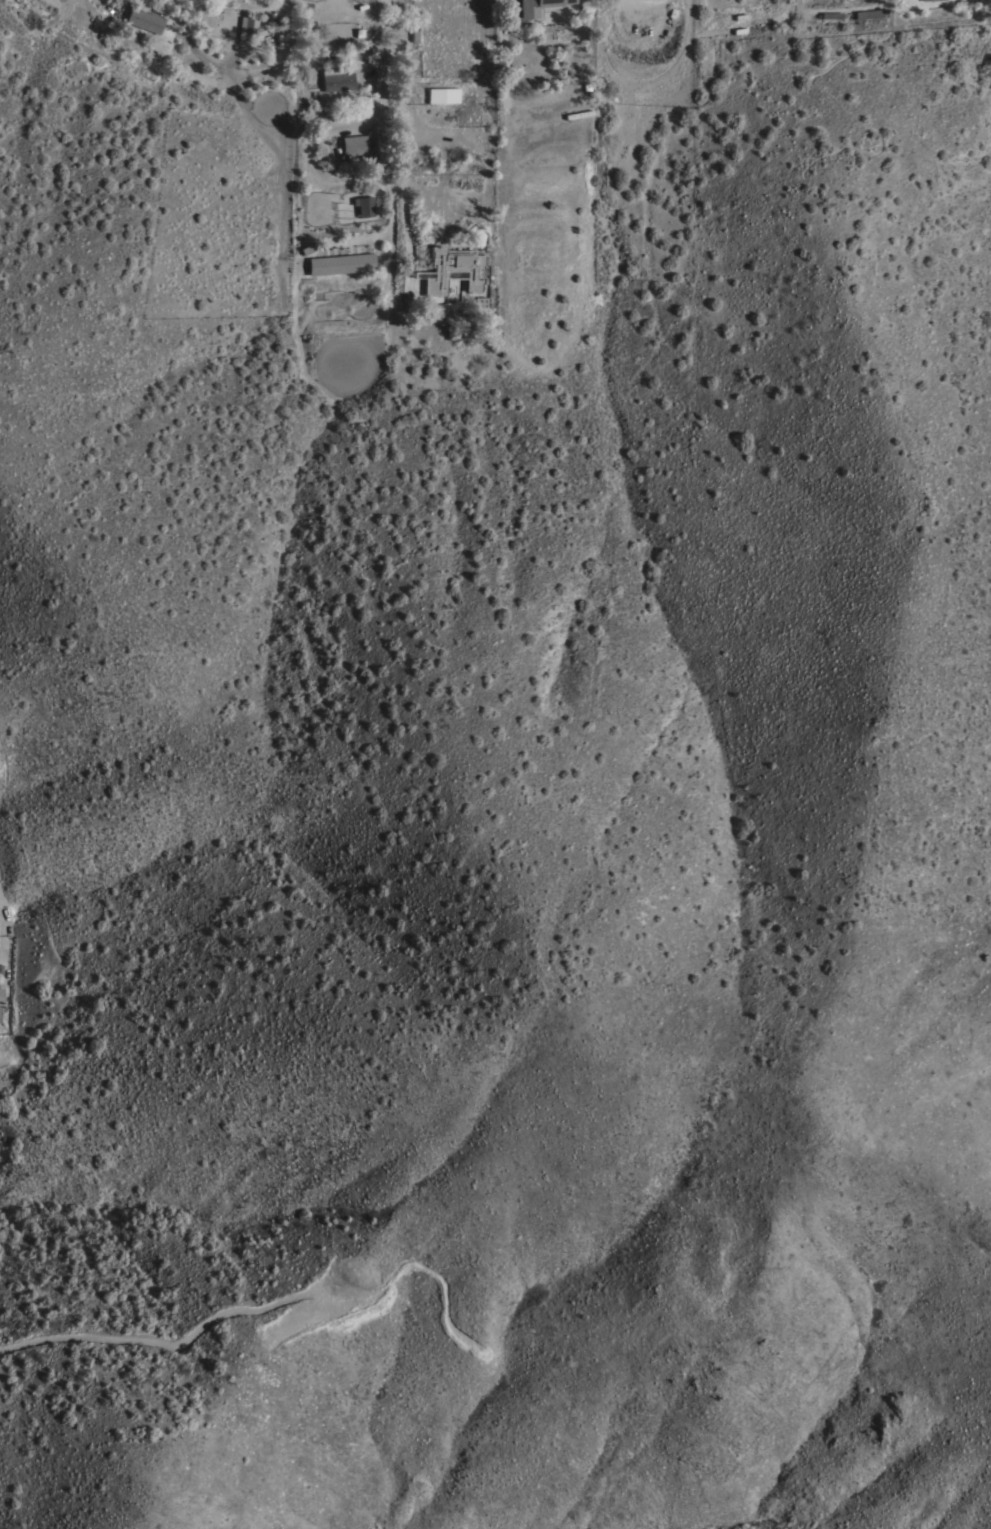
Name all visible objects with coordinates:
building: (537, 6)
building: (870, 13)
building: (831, 15)
building: (143, 18)
building: (247, 27)
building: (268, 40)
building: (336, 79)
building: (442, 95)
road: (401, 111)
building: (354, 144)
building: (341, 263)
building: (453, 269)
building: (481, 302)
road: (1, 938)
building: (1, 995)

